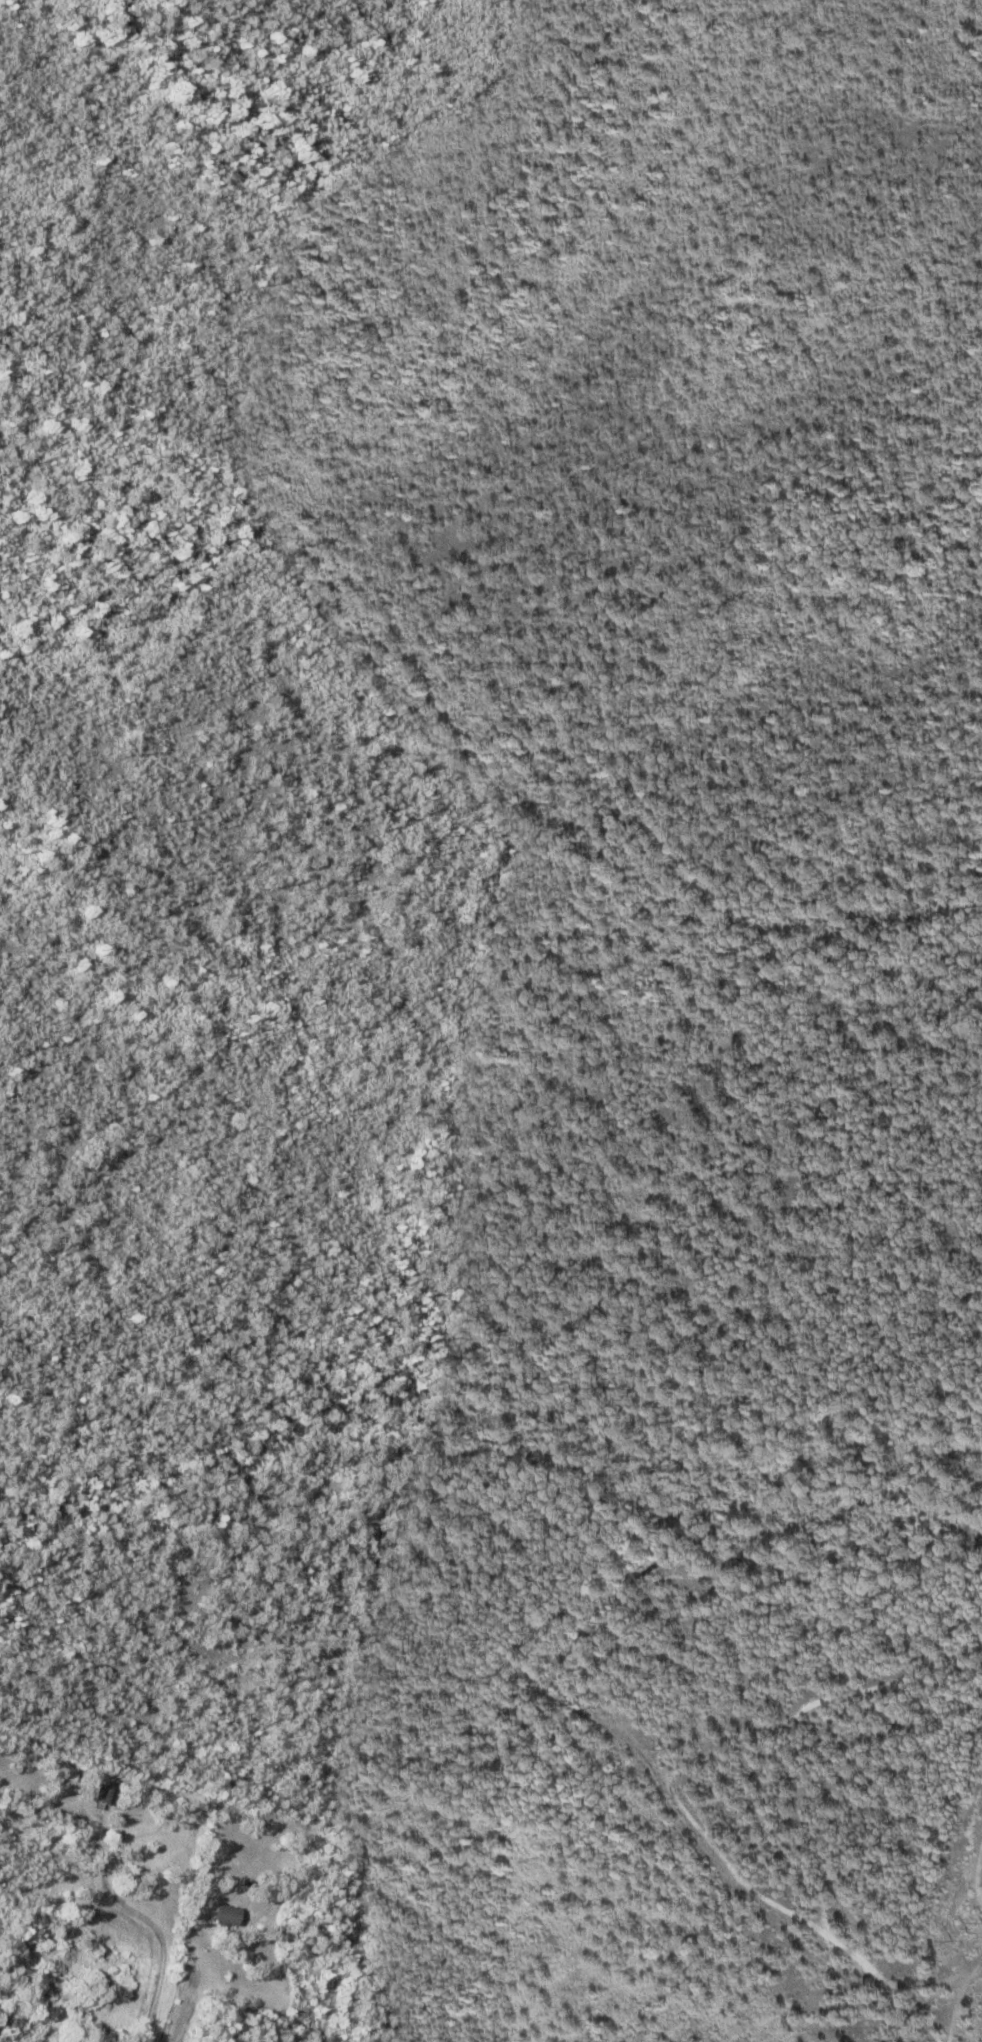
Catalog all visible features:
building: (70, 1775)
building: (102, 1797)
building: (224, 1914)
power tower: (966, 1928)

